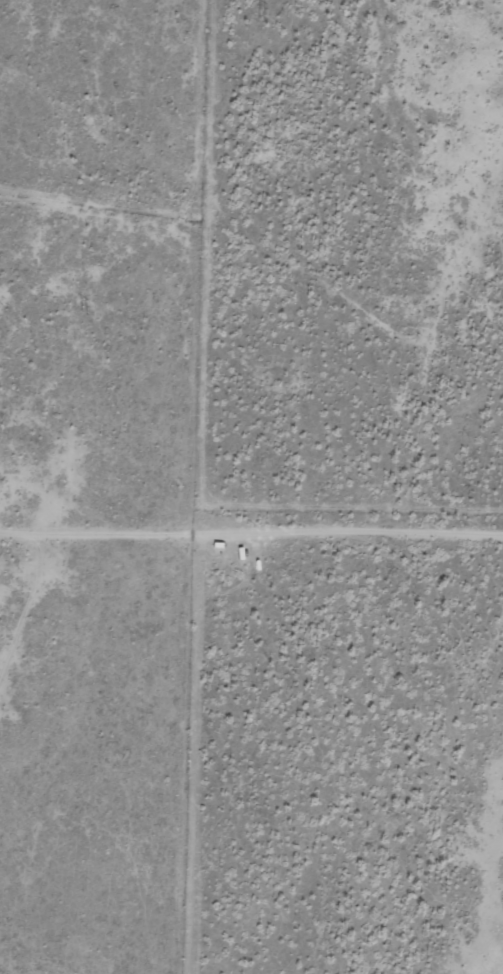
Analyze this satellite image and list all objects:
power tower: (256, 18)
power tower: (80, 315)
road: (251, 526)

